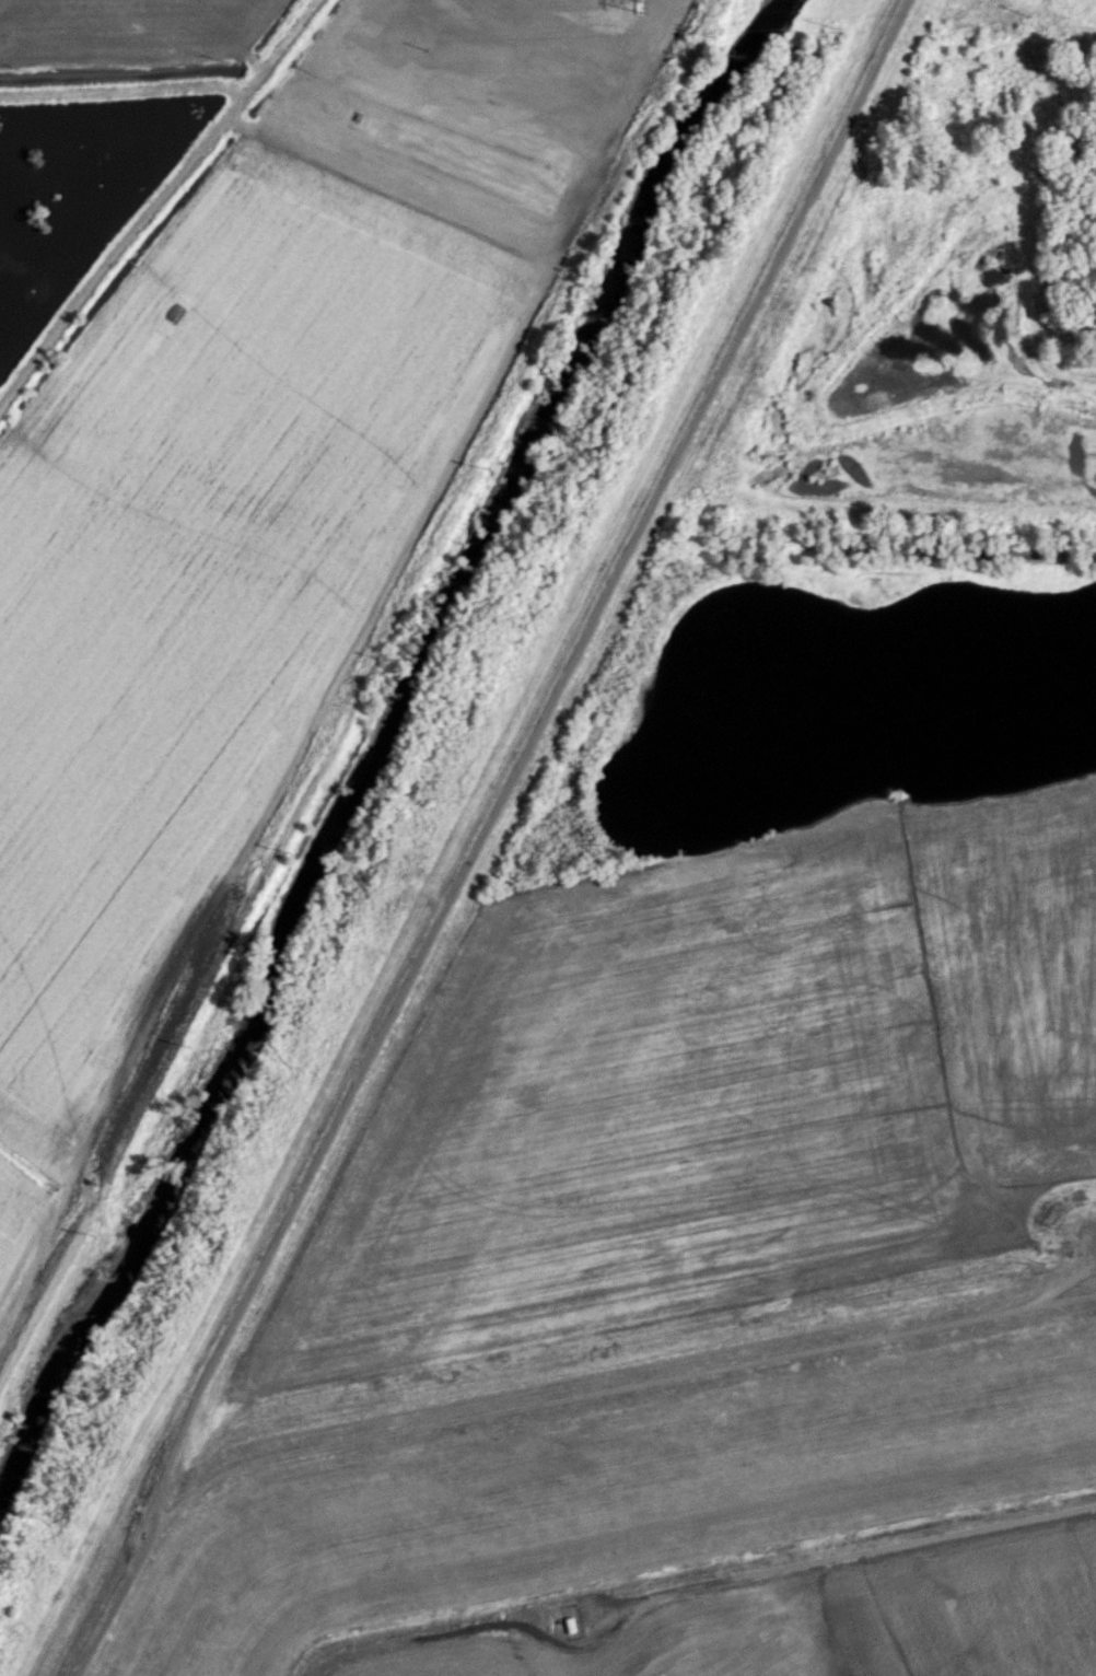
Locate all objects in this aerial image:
power tower: (634, 4)
park: (778, 829)
road: (481, 835)
road: (811, 1618)

